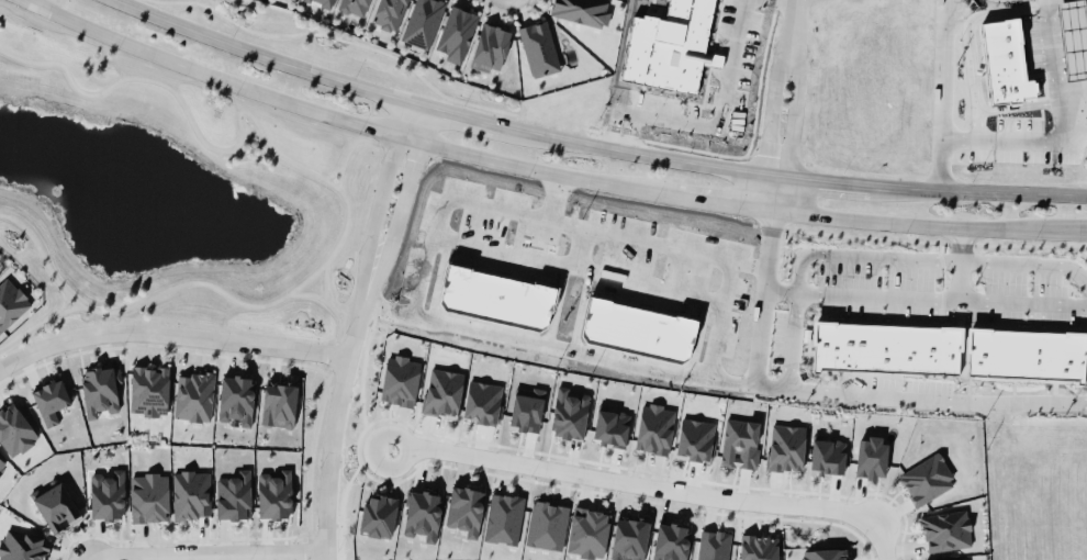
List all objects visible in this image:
building: (324, 2)
building: (354, 7)
road: (793, 9)
building: (582, 11)
building: (389, 13)
building: (423, 22)
building: (457, 33)
building: (490, 47)
building: (539, 48)
road: (265, 55)
road: (218, 77)
road: (944, 93)
road: (770, 113)
road: (795, 116)
road: (484, 117)
road: (417, 122)
road: (722, 122)
road: (1023, 144)
road: (655, 155)
road: (533, 169)
road: (384, 178)
road: (822, 178)
road: (909, 187)
road: (1011, 191)
road: (344, 197)
road: (556, 199)
road: (710, 202)
road: (401, 203)
road: (530, 217)
road: (923, 224)
road: (1083, 231)
road: (953, 238)
road: (971, 238)
road: (881, 254)
road: (960, 275)
road: (926, 298)
building: (11, 302)
road: (763, 312)
road: (719, 321)
road: (170, 334)
building: (887, 347)
road: (581, 354)
building: (1026, 354)
building: (400, 380)
building: (100, 390)
building: (149, 390)
building: (442, 392)
building: (194, 395)
road: (937, 396)
building: (236, 399)
building: (51, 400)
building: (482, 401)
building: (279, 404)
road: (336, 407)
building: (527, 408)
building: (569, 414)
building: (612, 425)
building: (654, 428)
building: (14, 429)
building: (695, 439)
building: (740, 443)
building: (786, 447)
building: (828, 456)
building: (871, 456)
building: (2, 462)
building: (927, 479)
road: (632, 483)
building: (274, 493)
building: (108, 494)
building: (191, 494)
building: (234, 494)
building: (149, 497)
building: (57, 506)
building: (466, 509)
building: (379, 514)
building: (423, 514)
building: (504, 518)
building: (547, 525)
building: (946, 530)
building: (587, 531)
building: (629, 538)
road: (884, 538)
building: (671, 541)
building: (714, 545)
building: (23, 546)
building: (759, 547)
road: (204, 552)
building: (825, 553)
road: (82, 558)
building: (955, 559)

